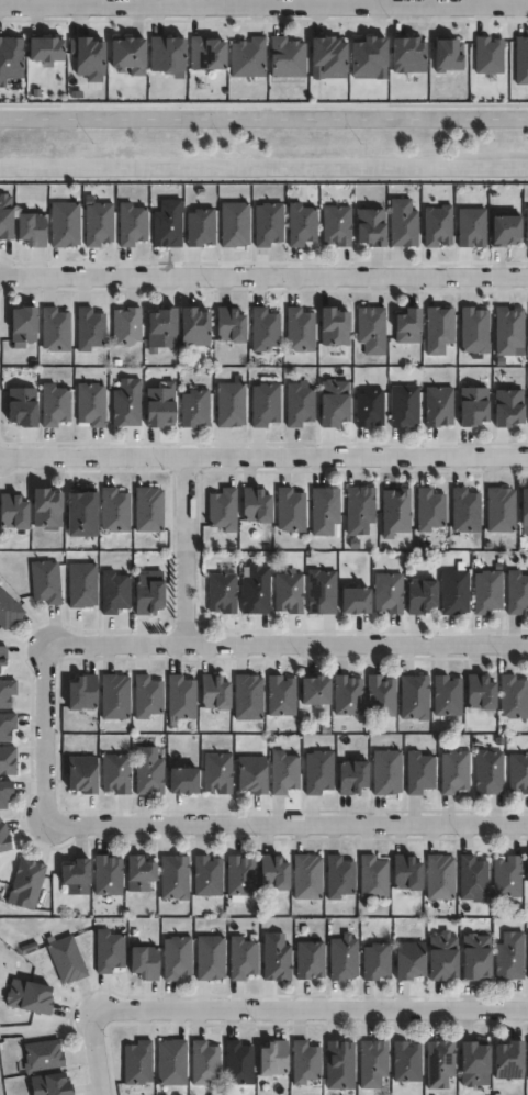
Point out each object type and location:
road: (263, 5)
building: (45, 49)
building: (167, 54)
building: (206, 54)
building: (127, 55)
building: (408, 55)
building: (288, 57)
building: (327, 57)
building: (88, 58)
building: (248, 58)
building: (370, 58)
building: (11, 59)
road: (263, 103)
road: (263, 113)
road: (263, 167)
road: (263, 181)
building: (4, 216)
building: (403, 223)
building: (98, 224)
building: (131, 224)
building: (168, 224)
building: (234, 224)
building: (268, 224)
building: (65, 225)
building: (302, 225)
building: (337, 225)
building: (201, 227)
building: (371, 227)
building: (527, 228)
building: (31, 230)
building: (504, 230)
road: (263, 277)
building: (23, 325)
building: (229, 325)
building: (126, 326)
building: (408, 326)
building: (335, 327)
building: (161, 328)
building: (193, 328)
building: (90, 329)
building: (263, 329)
building: (371, 329)
building: (55, 331)
building: (300, 331)
building: (439, 331)
building: (475, 331)
building: (509, 331)
building: (122, 401)
building: (334, 402)
building: (157, 404)
building: (55, 405)
building: (91, 405)
building: (229, 405)
building: (265, 405)
building: (300, 405)
building: (191, 406)
building: (404, 406)
building: (439, 406)
building: (473, 406)
building: (21, 407)
building: (370, 407)
building: (508, 407)
road: (263, 458)
building: (255, 507)
building: (46, 509)
building: (525, 509)
building: (115, 511)
building: (148, 511)
building: (222, 511)
building: (290, 511)
building: (360, 511)
building: (429, 511)
building: (501, 511)
building: (325, 512)
building: (465, 512)
building: (12, 513)
building: (79, 513)
building: (396, 513)
road: (184, 552)
building: (46, 583)
building: (81, 586)
building: (114, 592)
building: (256, 592)
building: (487, 592)
building: (289, 593)
building: (322, 593)
building: (454, 593)
building: (517, 593)
building: (222, 594)
building: (389, 594)
building: (147, 597)
building: (420, 597)
building: (355, 602)
building: (9, 611)
road: (287, 647)
building: (2, 655)
building: (315, 689)
building: (81, 691)
building: (213, 691)
building: (481, 691)
building: (5, 692)
building: (348, 694)
building: (147, 695)
building: (281, 695)
building: (381, 695)
building: (114, 696)
building: (248, 696)
building: (414, 696)
building: (448, 696)
building: (514, 696)
building: (181, 697)
building: (7, 725)
road: (43, 731)
building: (8, 760)
building: (148, 771)
building: (318, 771)
building: (454, 771)
building: (283, 772)
building: (386, 772)
building: (419, 772)
building: (488, 772)
building: (115, 773)
building: (217, 773)
building: (251, 773)
building: (518, 773)
building: (351, 776)
building: (81, 778)
building: (182, 780)
building: (3, 791)
road: (283, 827)
building: (3, 837)
building: (527, 870)
building: (272, 872)
building: (406, 872)
building: (139, 873)
building: (76, 875)
building: (108, 875)
building: (207, 875)
building: (175, 876)
building: (307, 876)
building: (339, 876)
building: (440, 876)
building: (472, 876)
building: (507, 876)
building: (240, 878)
building: (373, 878)
building: (26, 884)
building: (109, 951)
building: (443, 956)
building: (177, 957)
building: (210, 957)
building: (476, 957)
building: (510, 957)
building: (243, 958)
building: (278, 958)
building: (345, 958)
building: (66, 960)
building: (311, 960)
building: (409, 960)
building: (377, 961)
building: (144, 962)
building: (27, 996)
road: (310, 1010)
building: (40, 1055)
road: (96, 1055)
building: (272, 1058)
building: (508, 1060)
building: (406, 1061)
building: (203, 1062)
building: (305, 1062)
building: (137, 1063)
building: (171, 1063)
building: (238, 1063)
building: (372, 1063)
building: (439, 1063)
building: (339, 1064)
building: (474, 1064)
building: (49, 1084)

